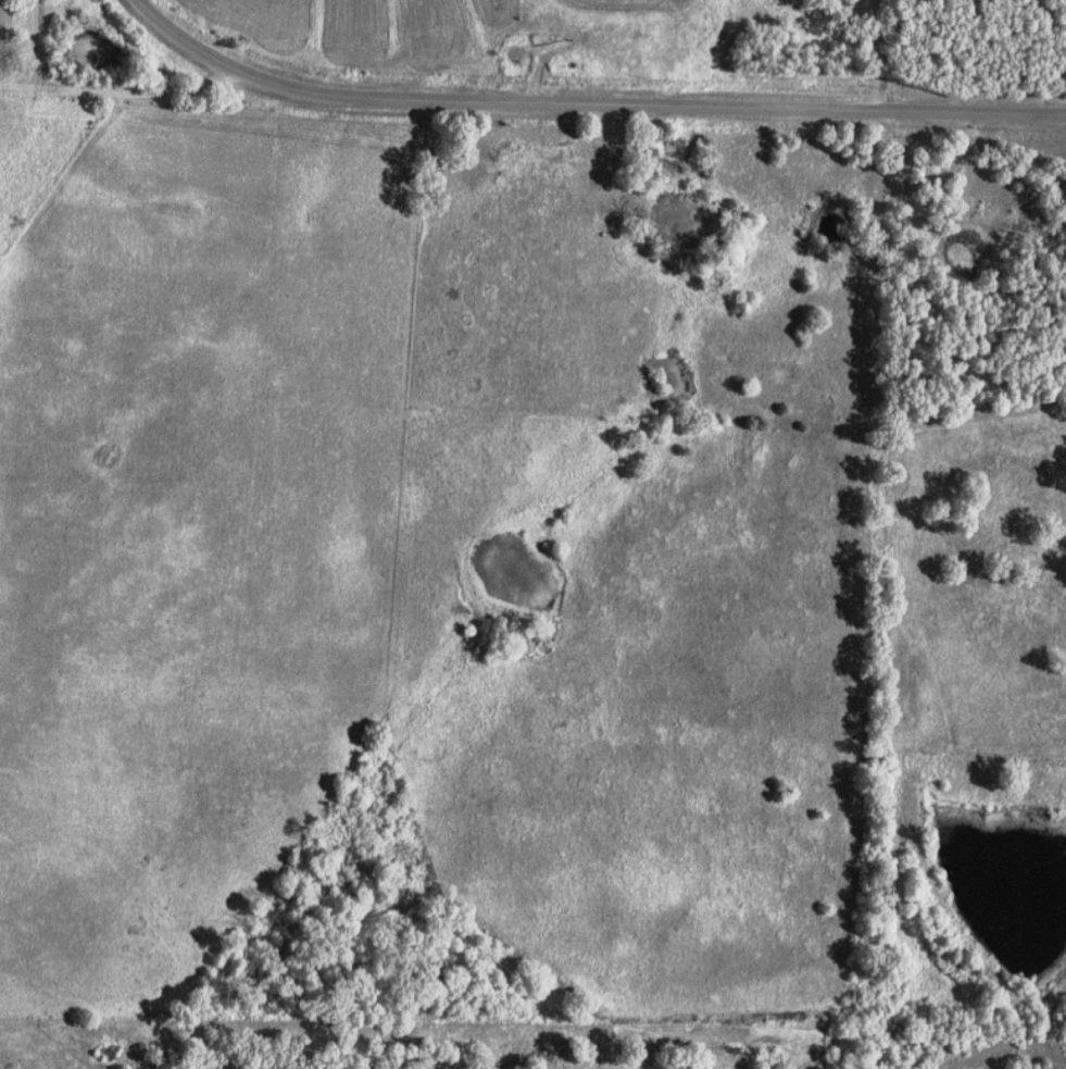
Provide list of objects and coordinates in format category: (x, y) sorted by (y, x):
road: (34, 51)
road: (880, 55)
road: (123, 96)
road: (492, 105)
road: (971, 113)

